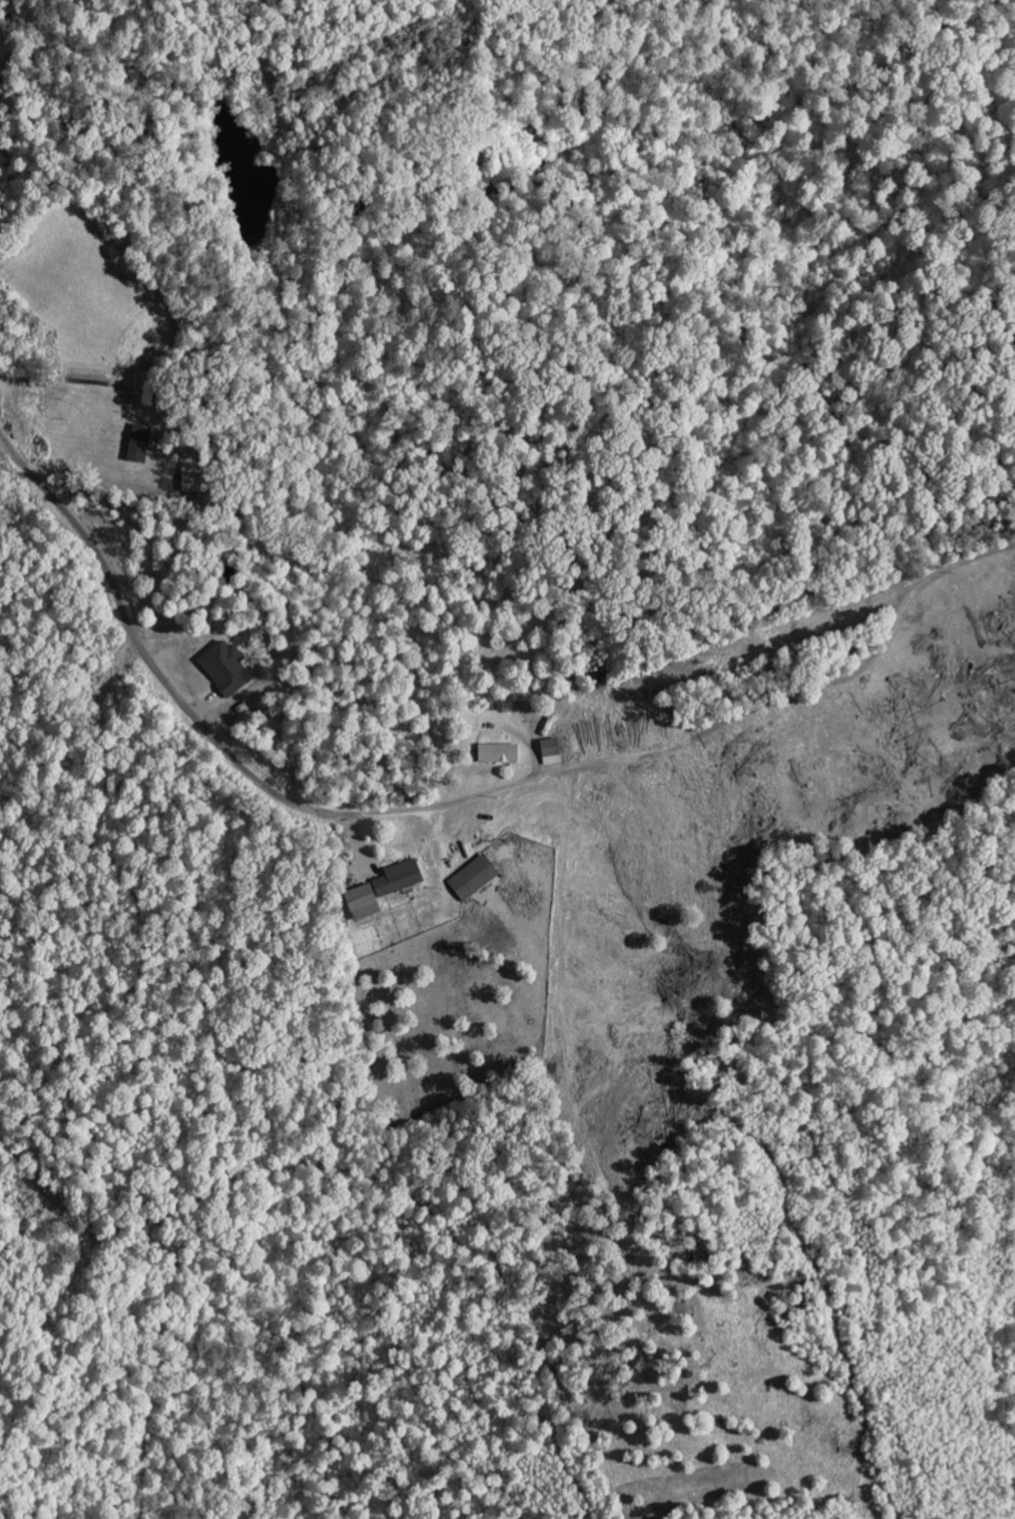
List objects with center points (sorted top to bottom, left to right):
building: (141, 445)
building: (228, 669)
building: (552, 753)
building: (500, 755)
road: (450, 803)
building: (476, 879)
building: (403, 880)
building: (367, 904)

